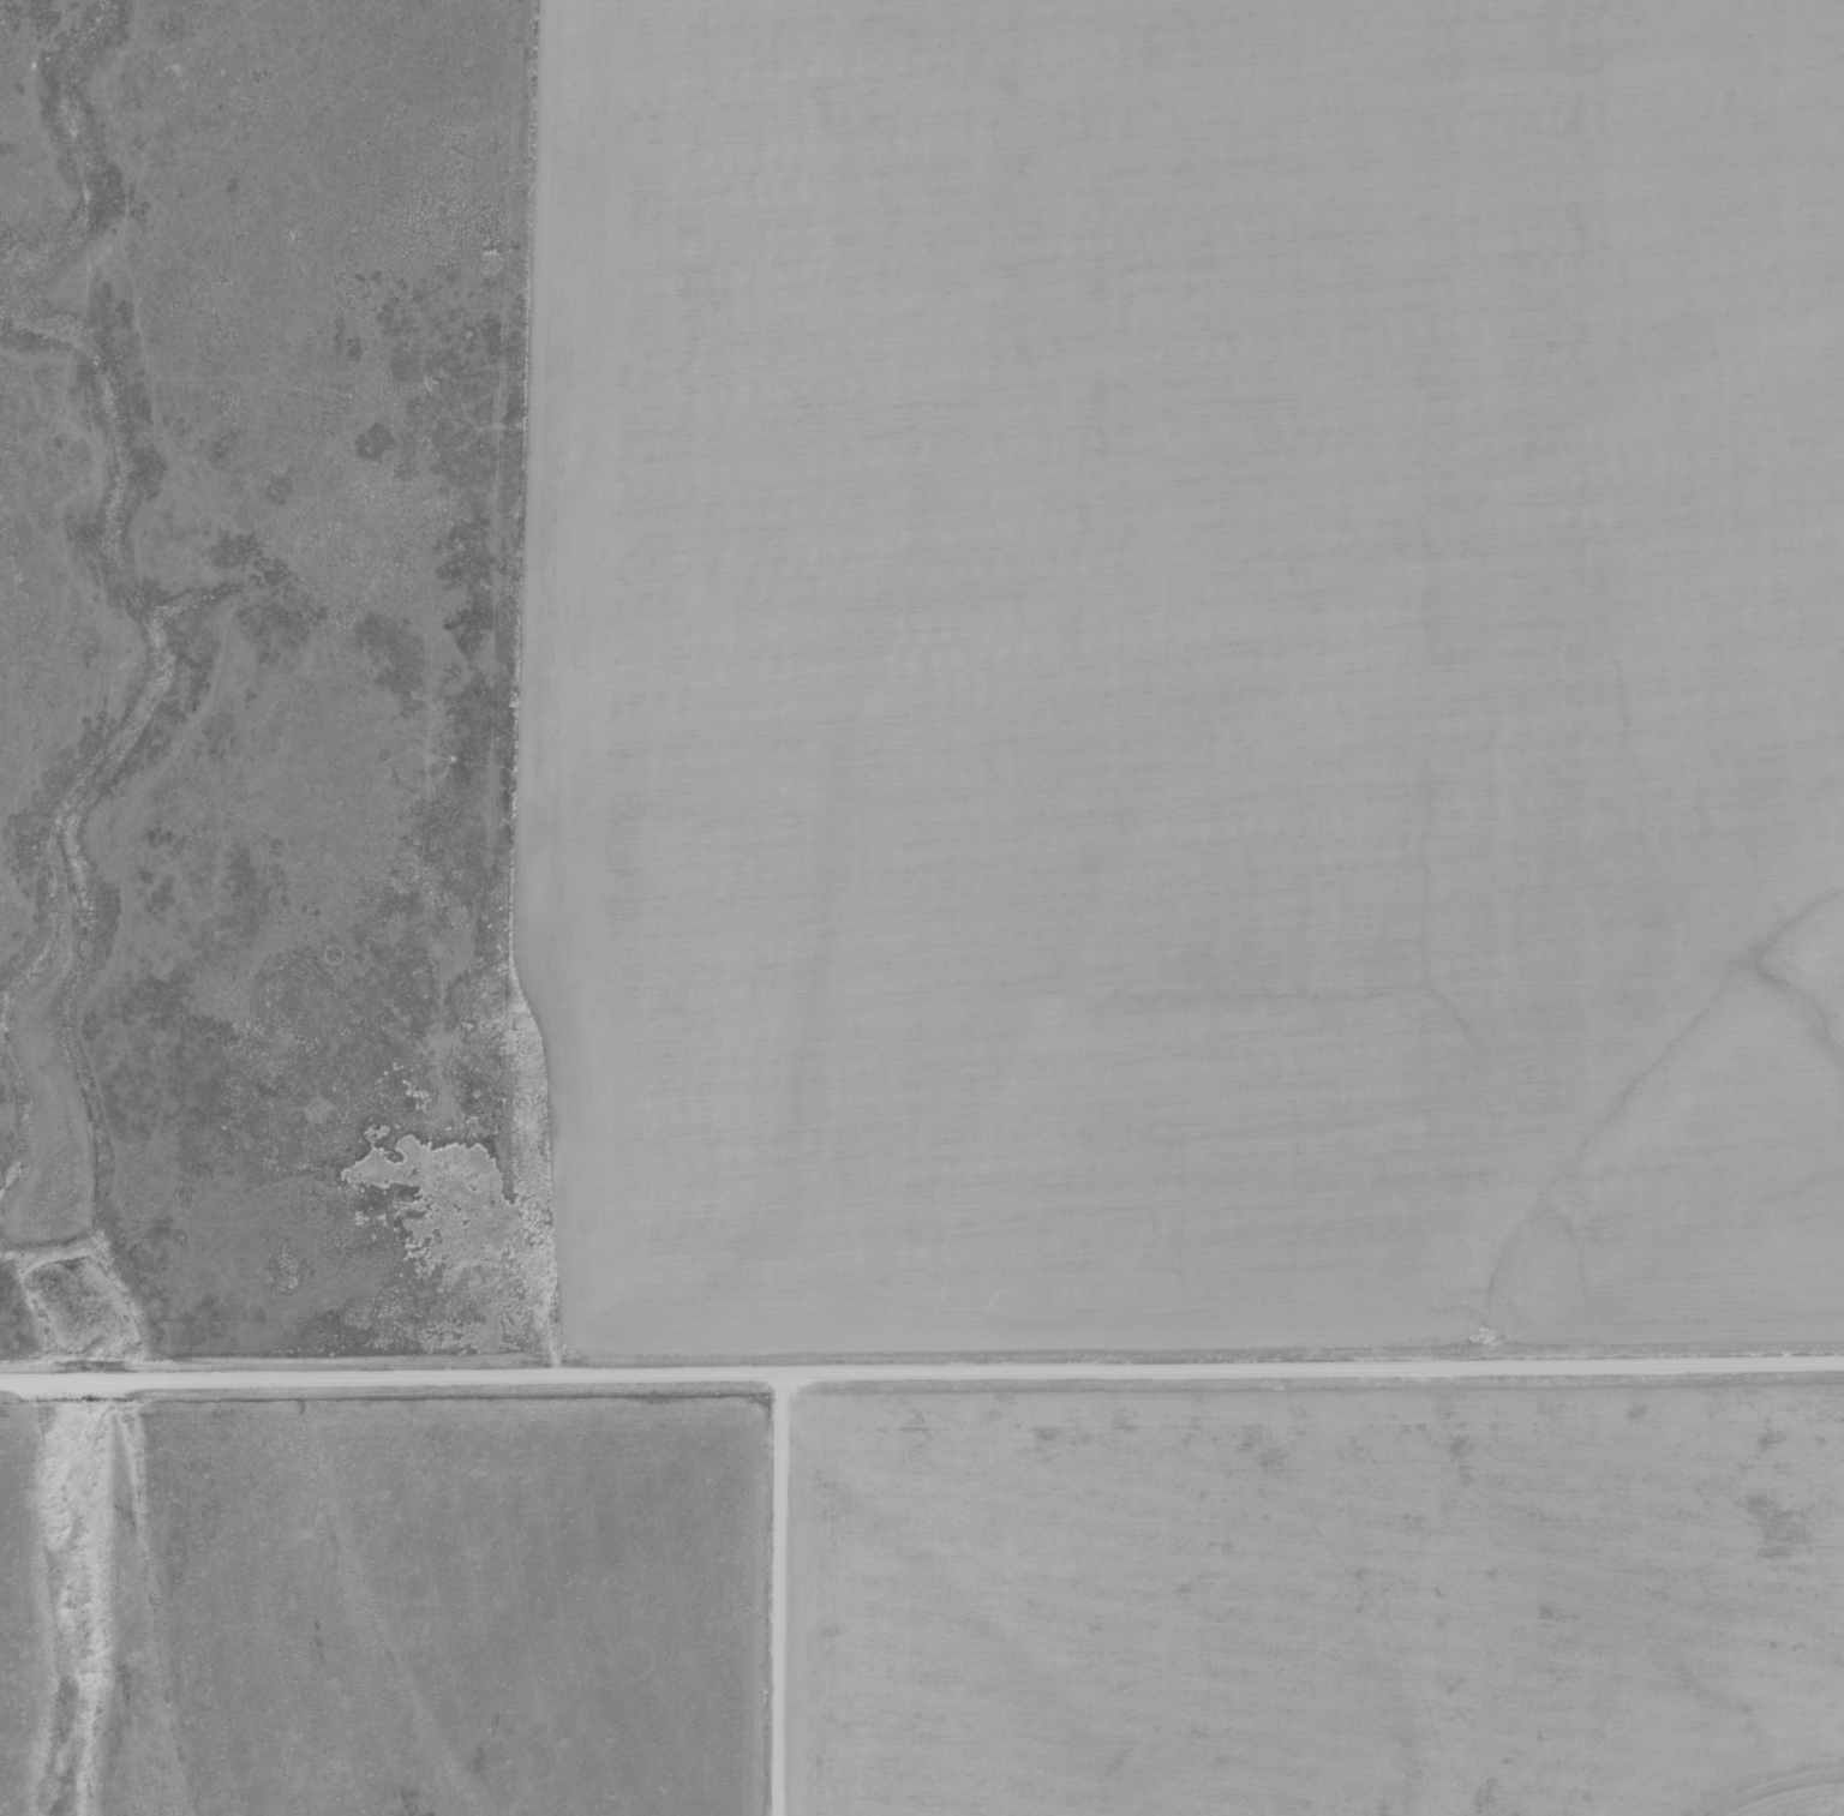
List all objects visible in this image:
road: (922, 1368)

